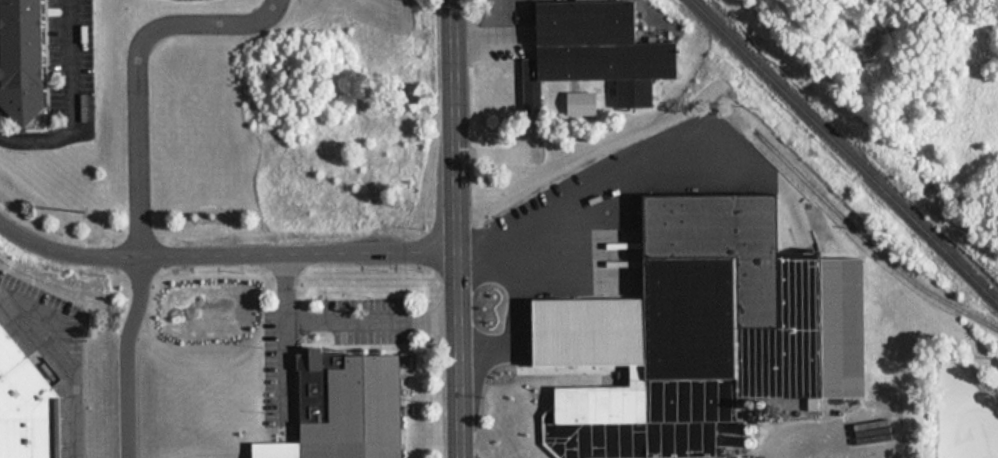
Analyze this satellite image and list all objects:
road: (498, 41)
building: (595, 51)
building: (24, 58)
road: (138, 75)
road: (73, 101)
railway: (845, 150)
road: (497, 152)
road: (744, 179)
road: (602, 207)
road: (453, 229)
railway: (871, 242)
road: (223, 256)
road: (283, 292)
road: (582, 296)
road: (369, 324)
building: (726, 335)
road: (125, 357)
road: (65, 365)
road: (283, 384)
building: (25, 401)
building: (358, 412)

